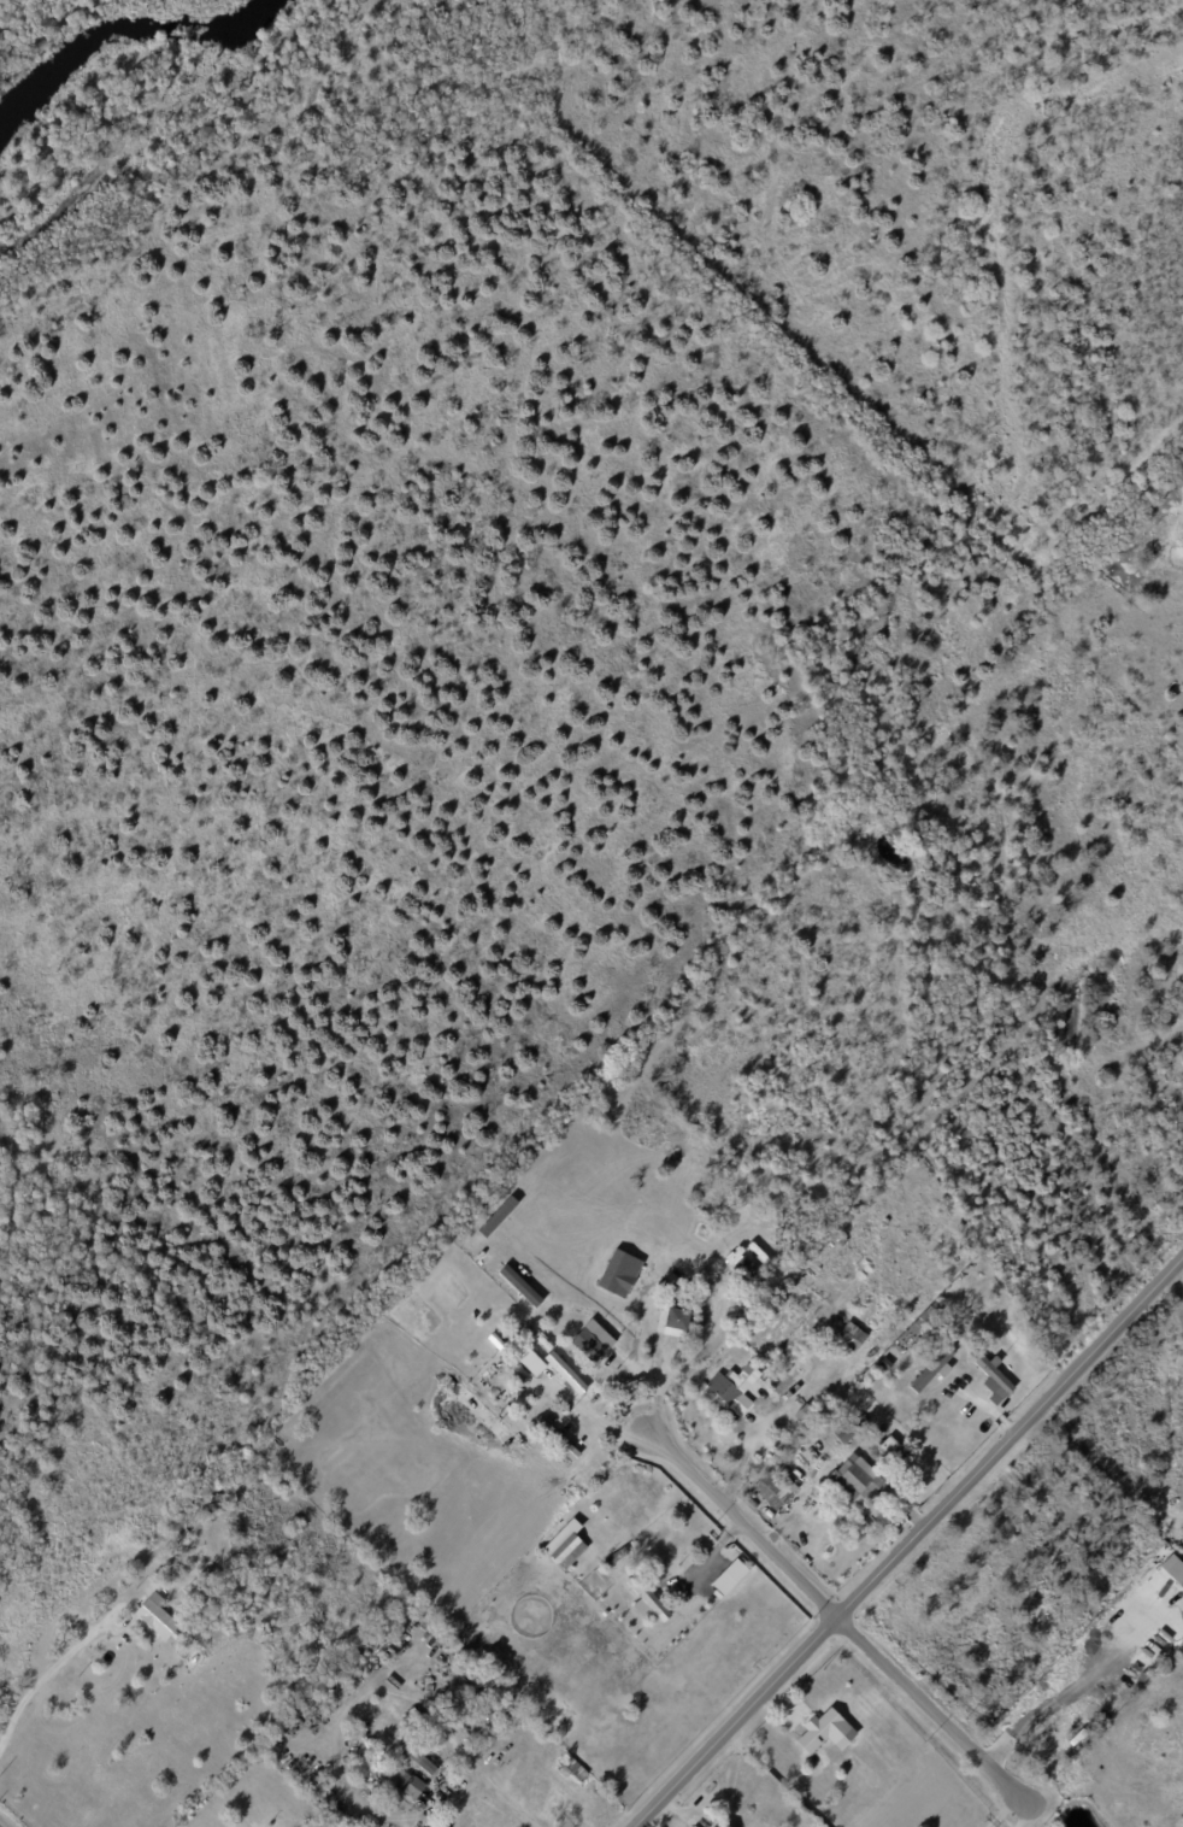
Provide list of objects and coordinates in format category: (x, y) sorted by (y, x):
building: (1181, 536)
building: (714, 1177)
building: (841, 1240)
building: (741, 1265)
building: (722, 1268)
building: (617, 1273)
building: (925, 1317)
building: (673, 1320)
building: (620, 1337)
building: (851, 1337)
building: (590, 1340)
building: (529, 1359)
building: (889, 1359)
road: (676, 1367)
building: (931, 1369)
building: (566, 1373)
building: (994, 1379)
building: (731, 1392)
building: (806, 1416)
building: (842, 1434)
building: (882, 1435)
building: (559, 1437)
building: (791, 1478)
building: (855, 1480)
building: (1066, 1485)
building: (769, 1490)
building: (220, 1499)
building: (208, 1511)
building: (861, 1528)
building: (186, 1533)
building: (558, 1543)
road: (912, 1544)
building: (245, 1555)
building: (617, 1557)
building: (1172, 1569)
building: (192, 1576)
building: (211, 1576)
building: (728, 1576)
building: (181, 1578)
building: (1181, 1586)
building: (647, 1598)
building: (604, 1612)
building: (158, 1615)
building: (194, 1617)
road: (835, 1619)
building: (632, 1633)
building: (452, 1645)
road: (53, 1668)
building: (473, 1676)
road: (1070, 1688)
building: (461, 1690)
building: (487, 1694)
building: (314, 1700)
building: (494, 1719)
building: (825, 1732)
building: (417, 1756)
building: (401, 1779)
road: (1000, 1810)
building: (339, 1811)
road: (1020, 1816)
building: (722, 1825)

